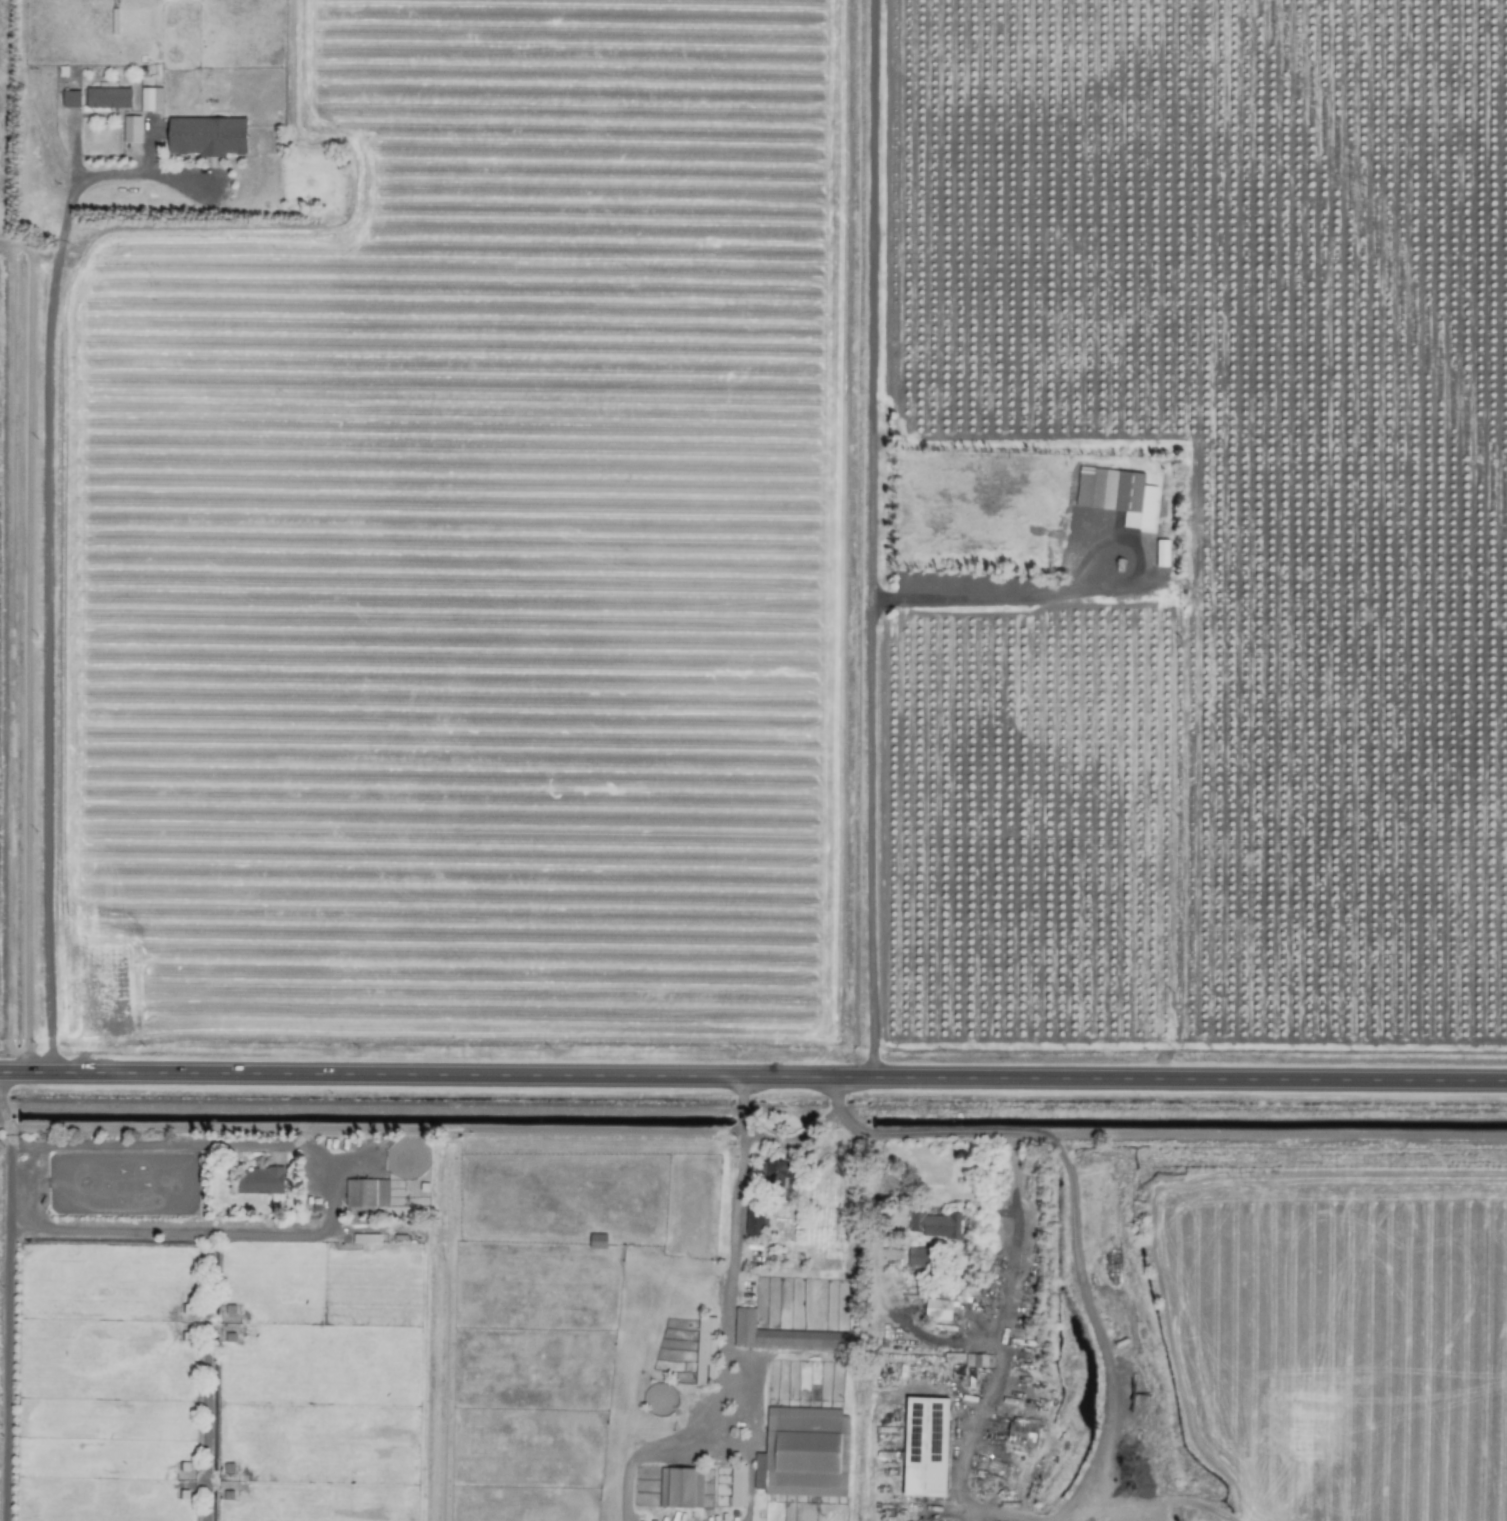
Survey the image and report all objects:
building: (107, 98)
building: (70, 99)
building: (150, 99)
building: (131, 129)
building: (206, 136)
road: (869, 300)
building: (1117, 495)
building: (1161, 553)
road: (47, 563)
road: (869, 632)
road: (753, 1073)
road: (1272, 1134)
road: (795, 1140)
road: (200, 1145)
building: (775, 1176)
building: (258, 1181)
building: (365, 1197)
building: (756, 1220)
building: (932, 1225)
road: (171, 1232)
building: (597, 1241)
building: (920, 1258)
road: (1002, 1262)
road: (5, 1294)
building: (937, 1309)
road: (726, 1326)
building: (782, 1336)
building: (705, 1351)
building: (977, 1360)
road: (208, 1377)
building: (1021, 1434)
building: (924, 1447)
road: (1077, 1447)
building: (803, 1453)
building: (737, 1486)
building: (679, 1488)
road: (1153, 1488)

